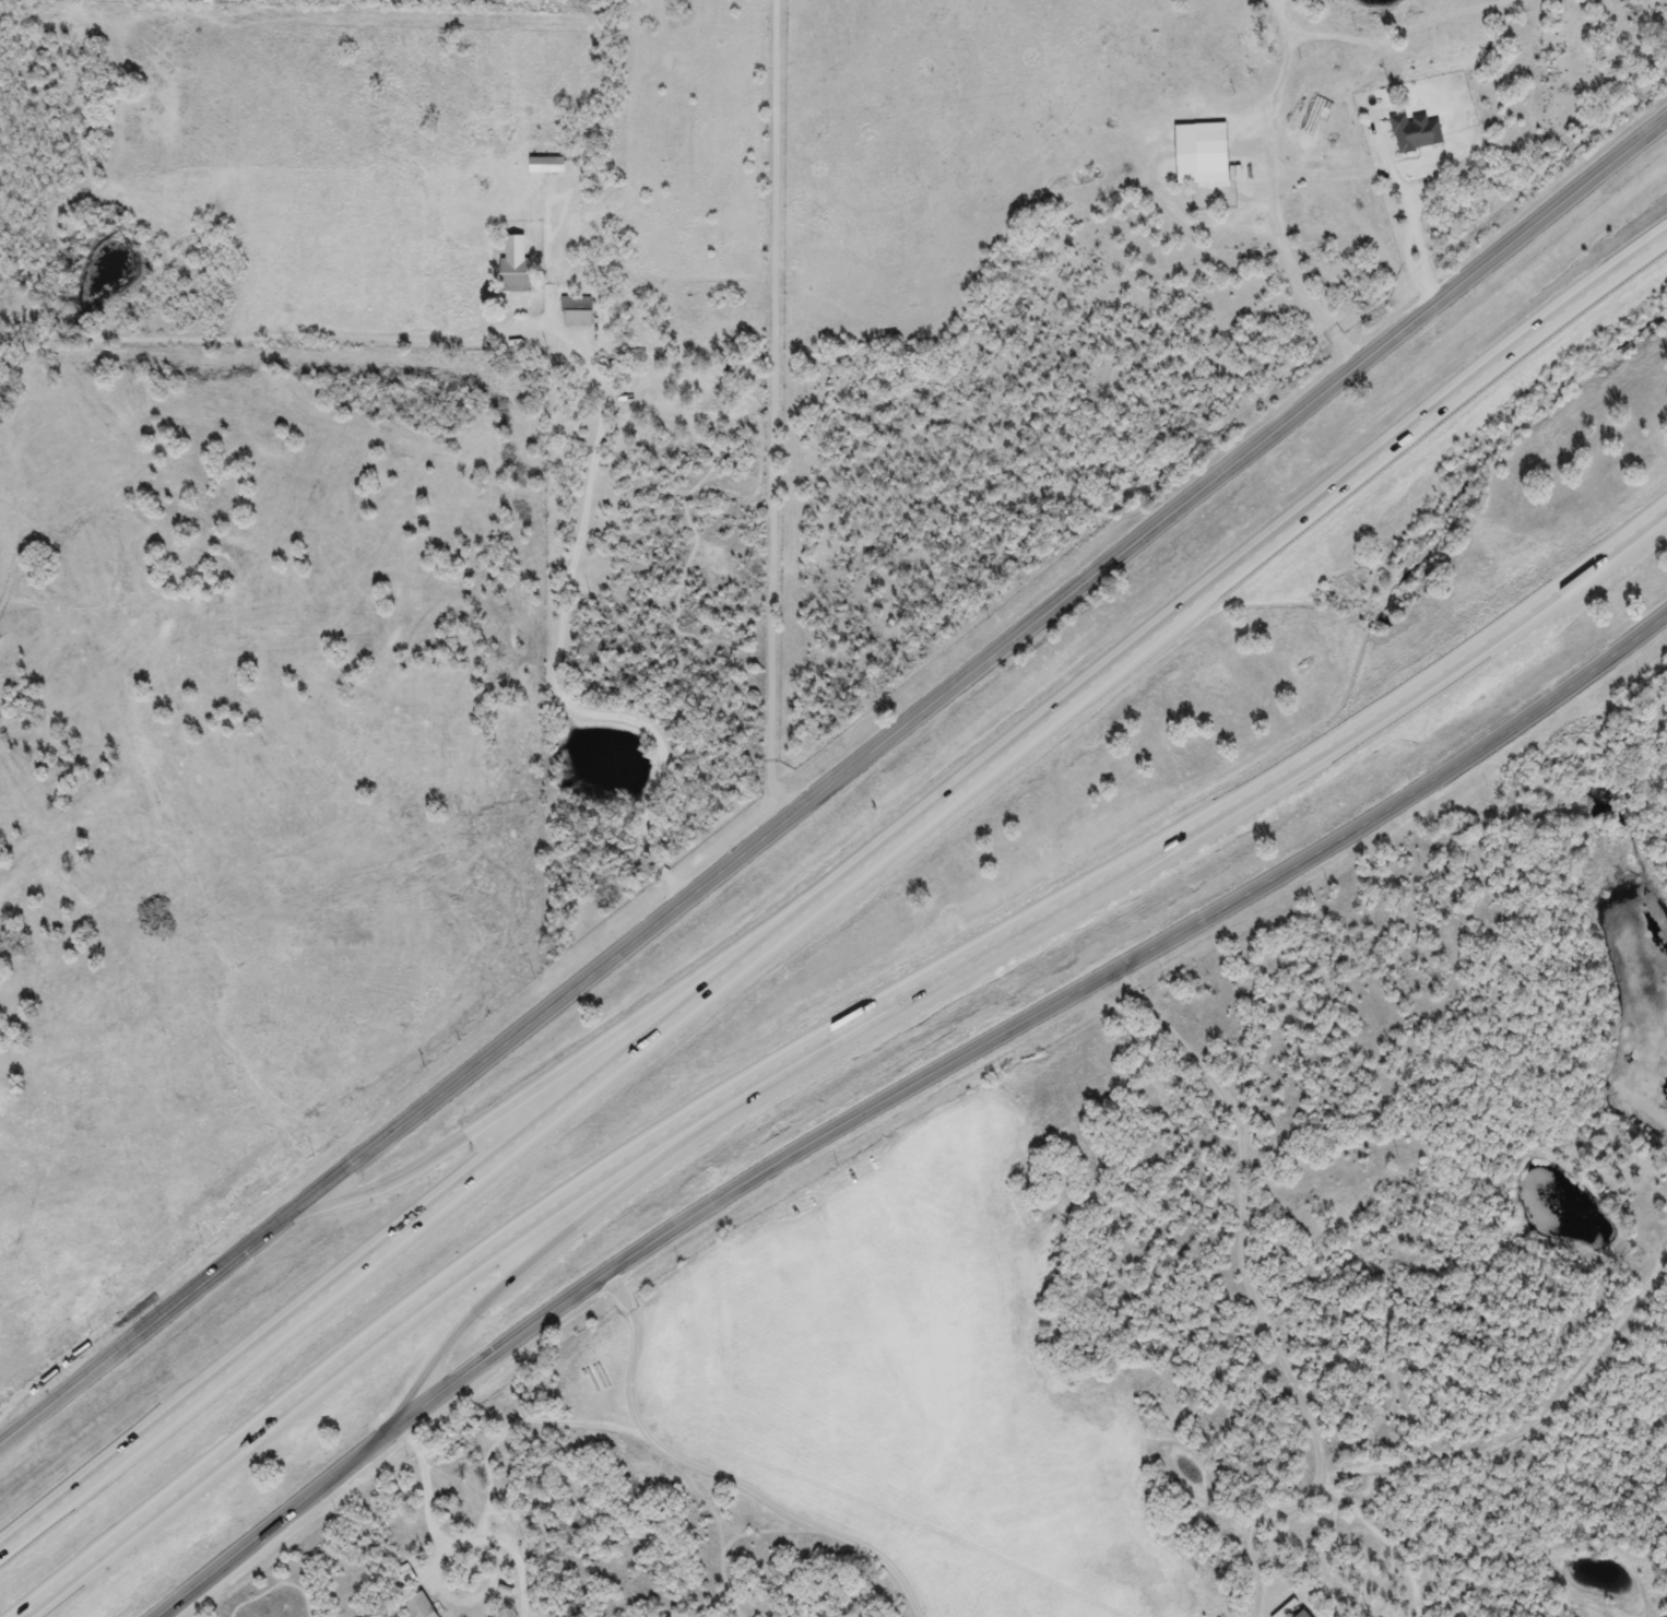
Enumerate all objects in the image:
road: (1279, 86)
building: (1414, 132)
building: (1209, 156)
building: (545, 164)
road: (1292, 173)
building: (513, 275)
building: (576, 311)
road: (777, 411)
road: (560, 632)
road: (967, 673)
road: (672, 884)
road: (835, 888)
road: (1021, 1016)
road: (824, 1037)
road: (542, 1083)
road: (616, 1194)
road: (1250, 1295)
road: (133, 1331)
road: (505, 1436)
road: (713, 1474)
road: (427, 1498)
road: (262, 1523)
road: (1257, 1533)
building: (418, 1605)
building: (1300, 1614)

